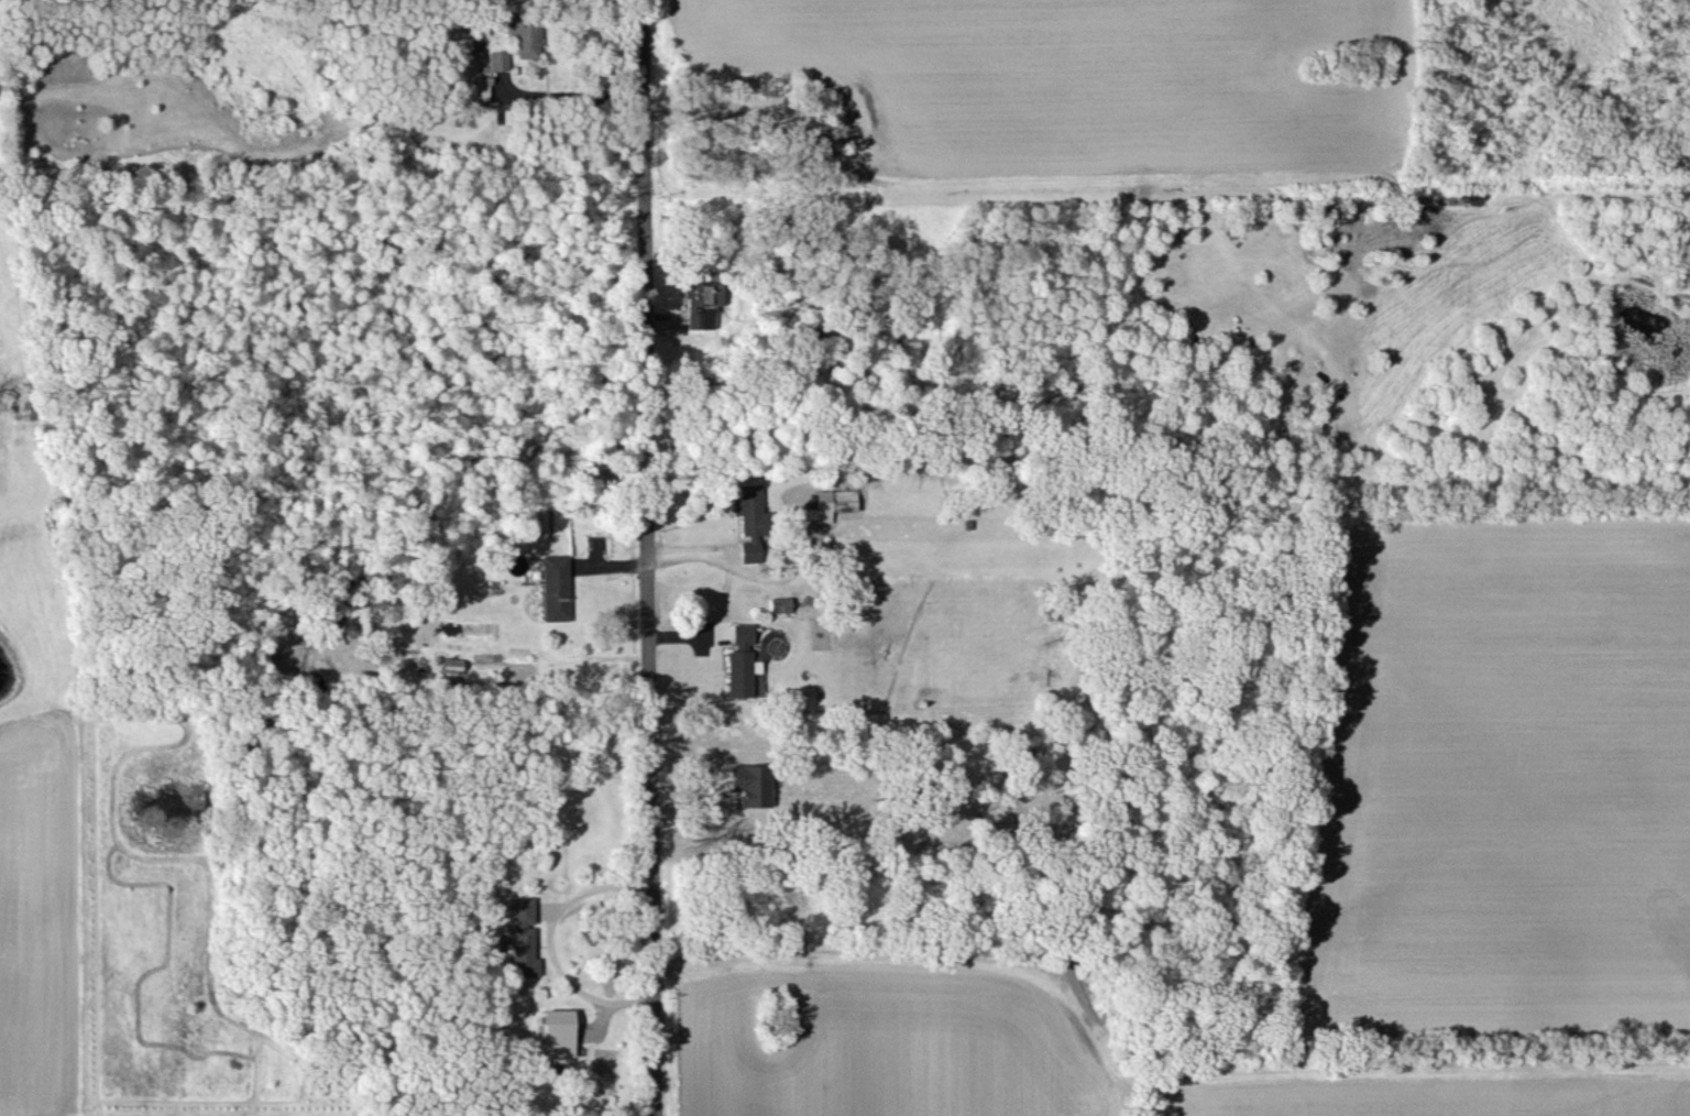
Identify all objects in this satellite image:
building: (524, 33)
building: (496, 59)
building: (480, 90)
road: (564, 96)
building: (700, 303)
building: (833, 502)
building: (749, 518)
road: (643, 558)
building: (553, 587)
building: (778, 603)
building: (740, 660)
building: (757, 682)
building: (751, 784)
building: (520, 936)
road: (548, 940)
building: (557, 1032)

